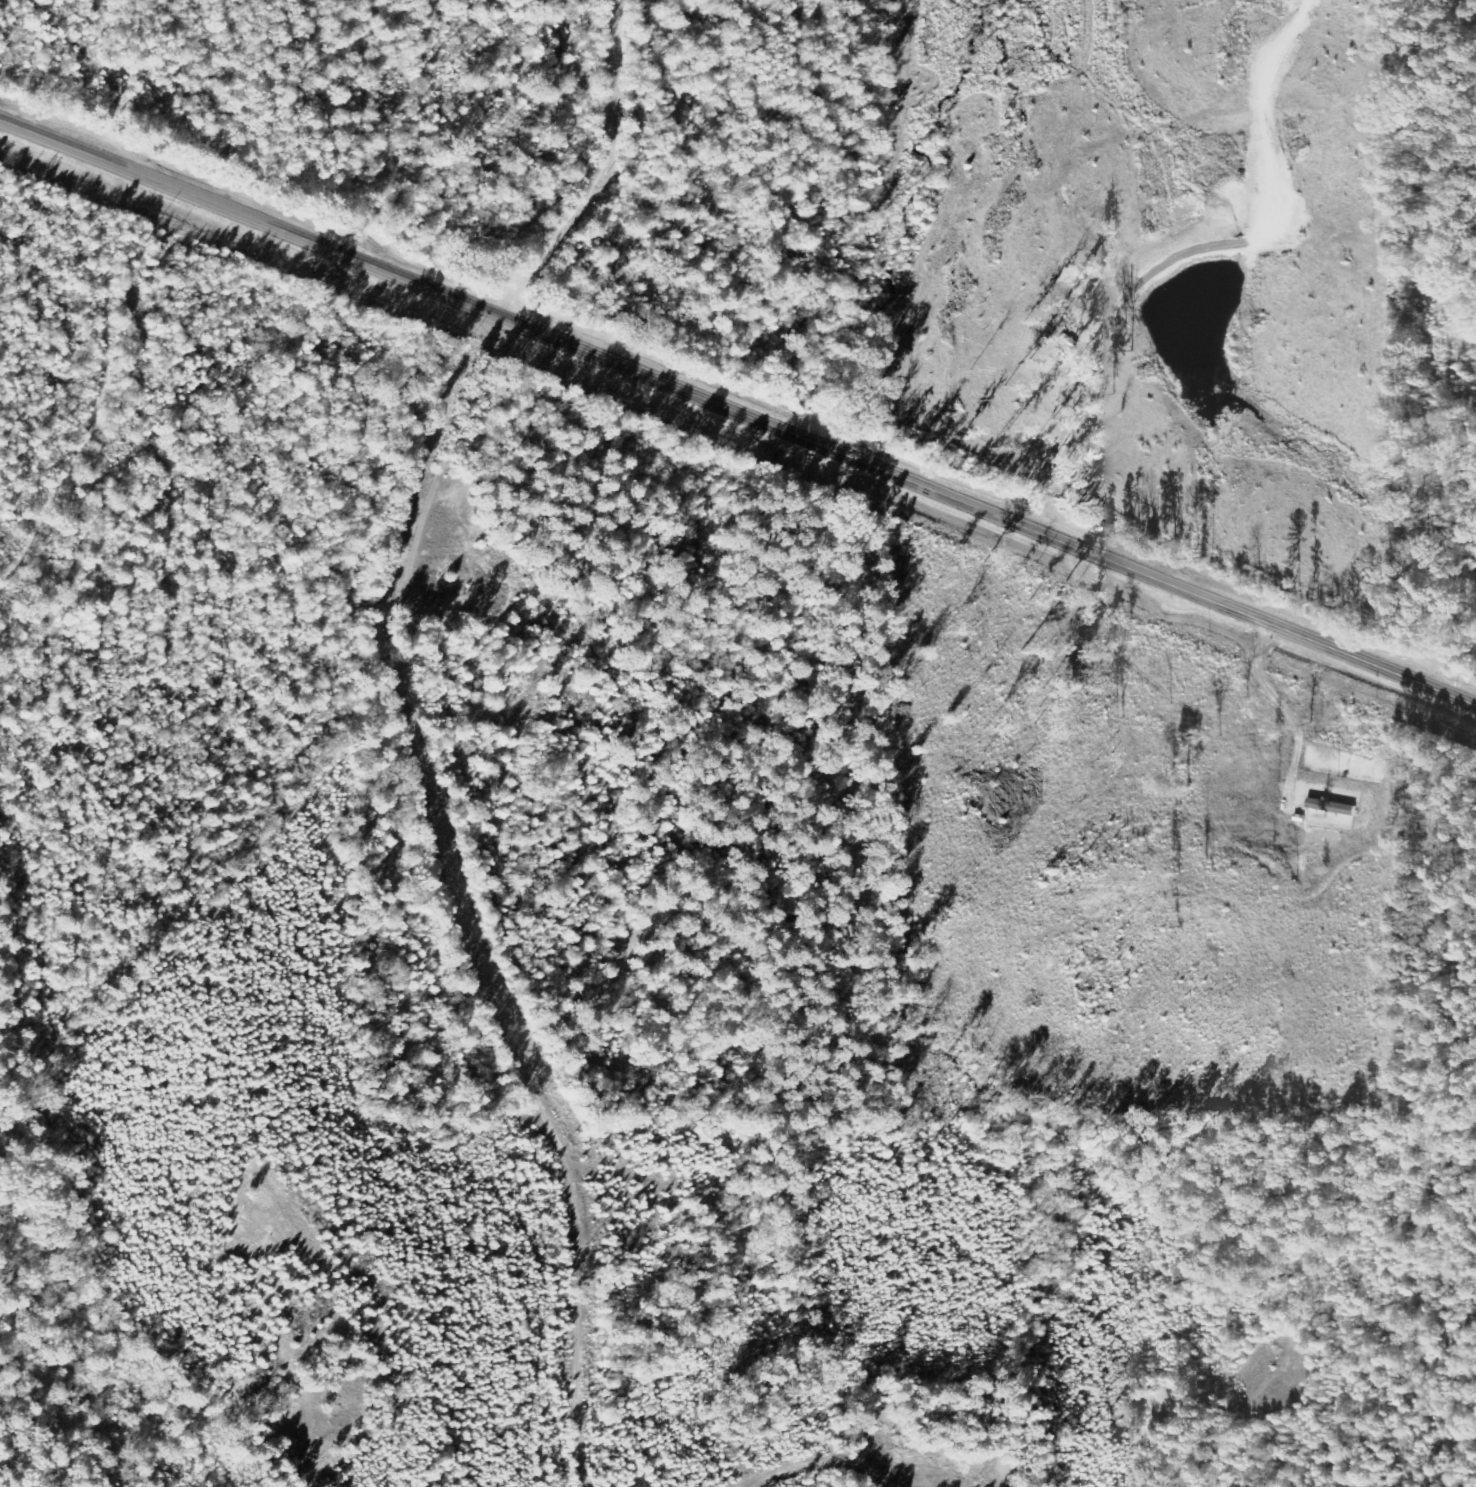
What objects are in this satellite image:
road: (738, 411)
building: (1331, 813)
road: (416, 917)
road: (680, 1482)

